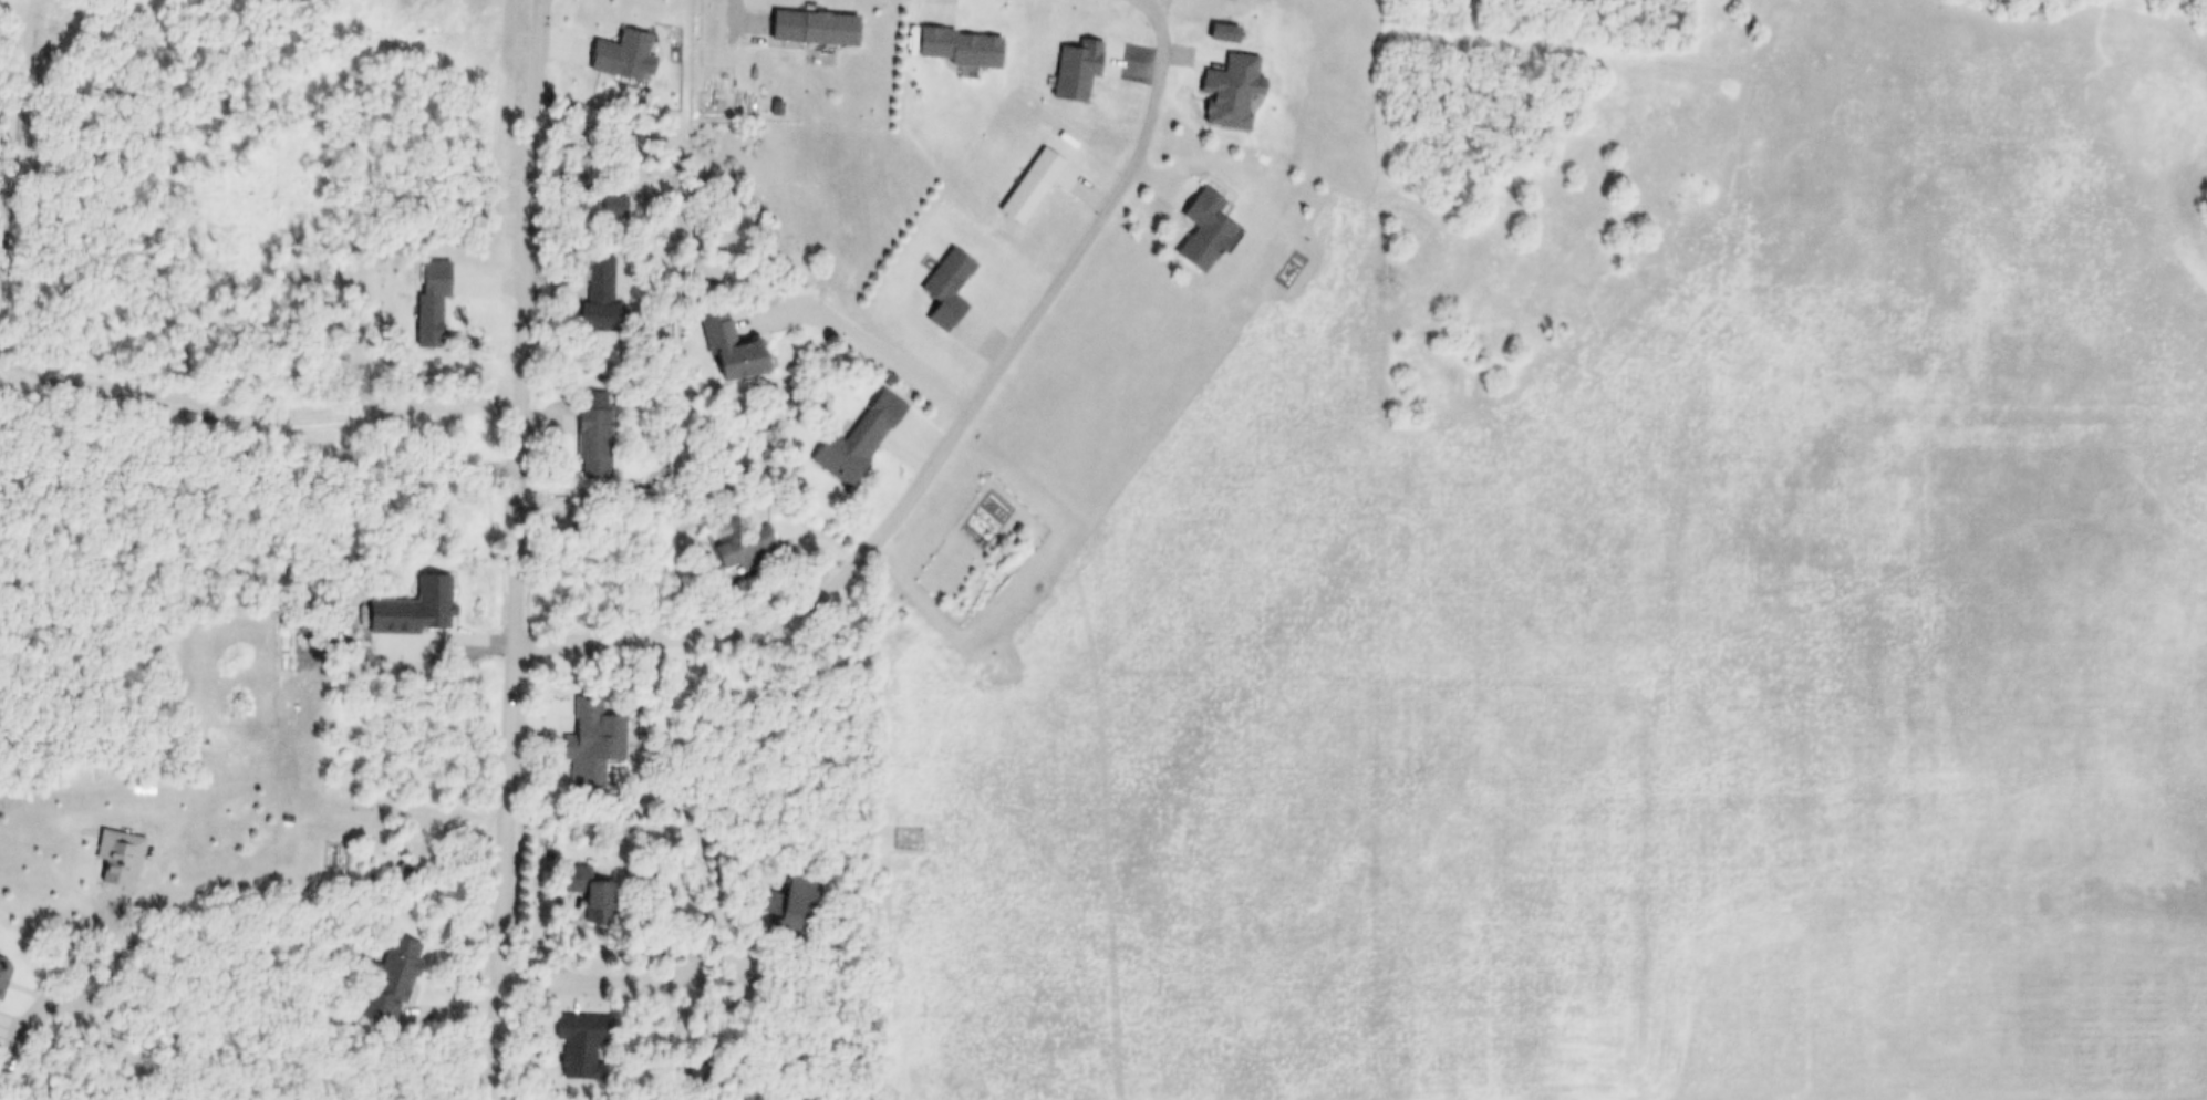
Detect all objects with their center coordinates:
road: (30, 19)
building: (801, 23)
building: (612, 53)
building: (1218, 86)
building: (766, 105)
building: (1019, 183)
building: (604, 206)
building: (1198, 225)
building: (931, 284)
building: (950, 291)
building: (589, 297)
road: (858, 339)
building: (714, 342)
building: (583, 433)
building: (846, 438)
road: (946, 442)
building: (733, 542)
building: (747, 548)
road: (520, 550)
building: (405, 604)
building: (577, 748)
building: (1419, 775)
building: (1267, 828)
building: (111, 853)
building: (574, 885)
building: (592, 896)
building: (776, 896)
building: (799, 909)
building: (2, 969)
road: (630, 974)
building: (381, 975)
building: (569, 1040)

